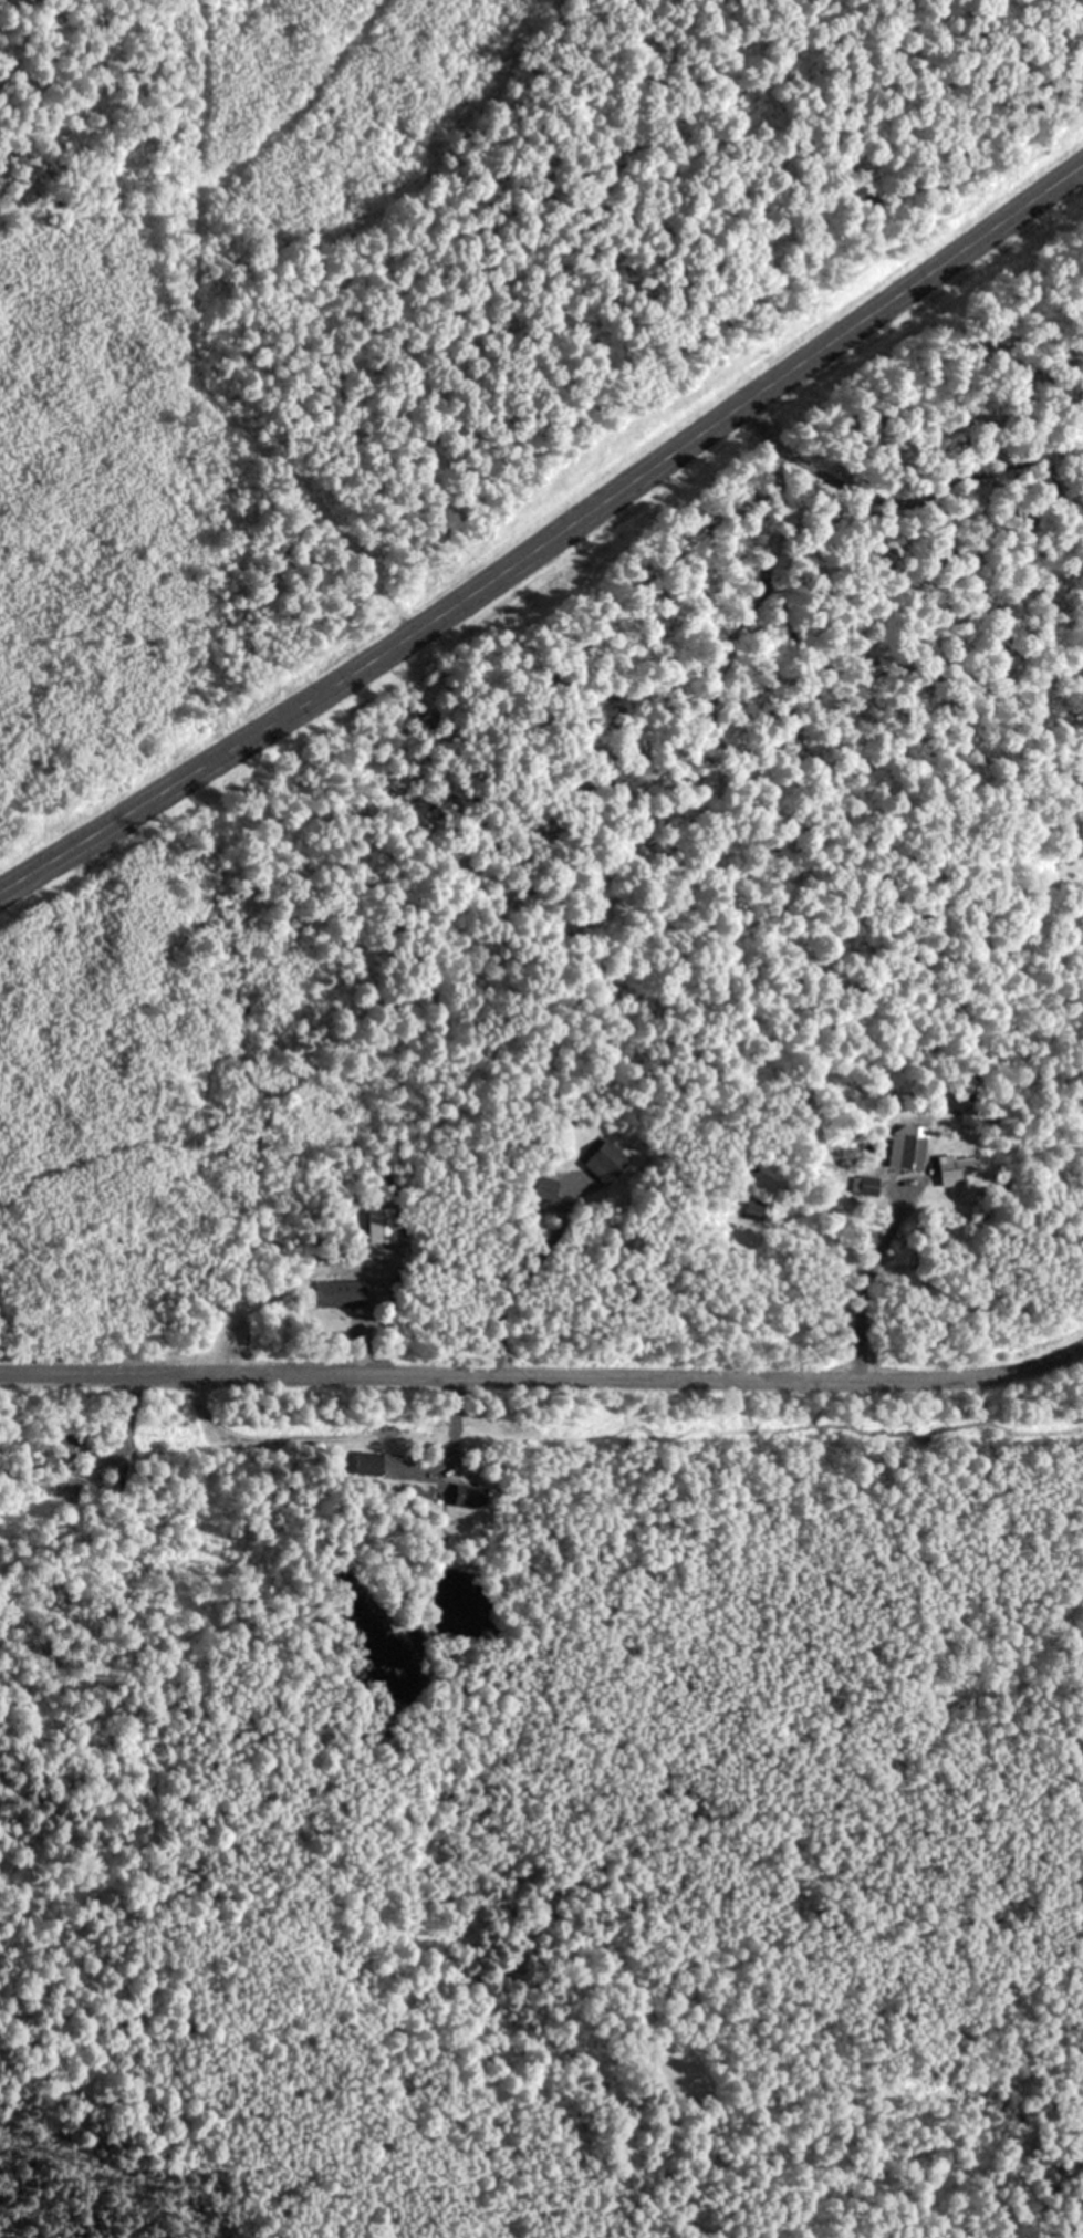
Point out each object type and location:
road: (549, 535)
building: (907, 1147)
building: (605, 1160)
building: (959, 1166)
building: (546, 1187)
building: (379, 1222)
road: (860, 1288)
road: (513, 1290)
building: (343, 1292)
road: (355, 1346)
road: (1040, 1356)
road: (499, 1374)
road: (451, 1417)
building: (75, 1439)
building: (368, 1461)
building: (469, 1495)

